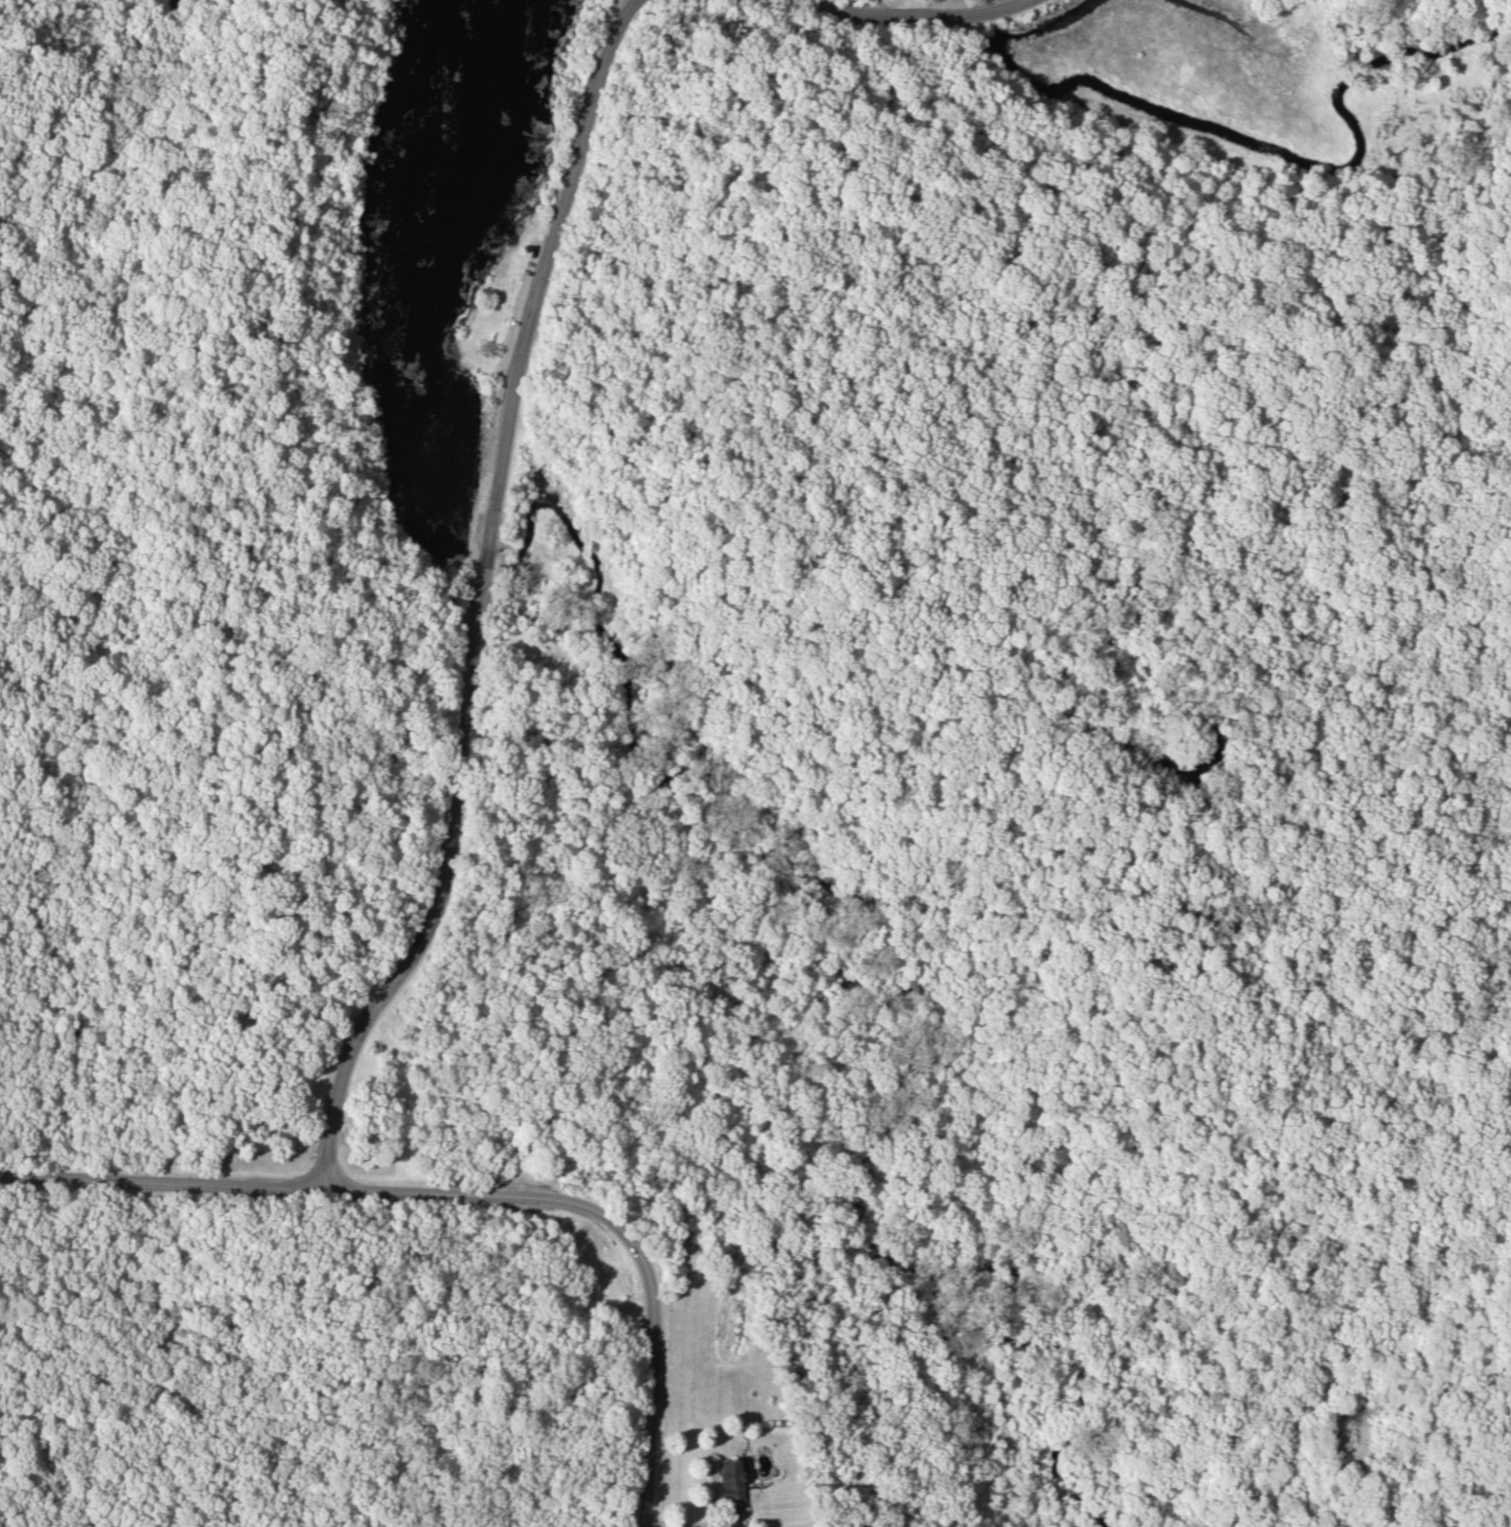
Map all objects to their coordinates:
road: (939, 10)
road: (107, 301)
parking lot: (507, 382)
road: (11, 427)
road: (1390, 517)
road: (257, 519)
road: (474, 598)
park: (714, 685)
road: (112, 737)
park: (1015, 743)
road: (903, 1161)
road: (161, 1179)
road: (616, 1231)
park: (769, 1435)
building: (728, 1480)
road: (732, 1522)

